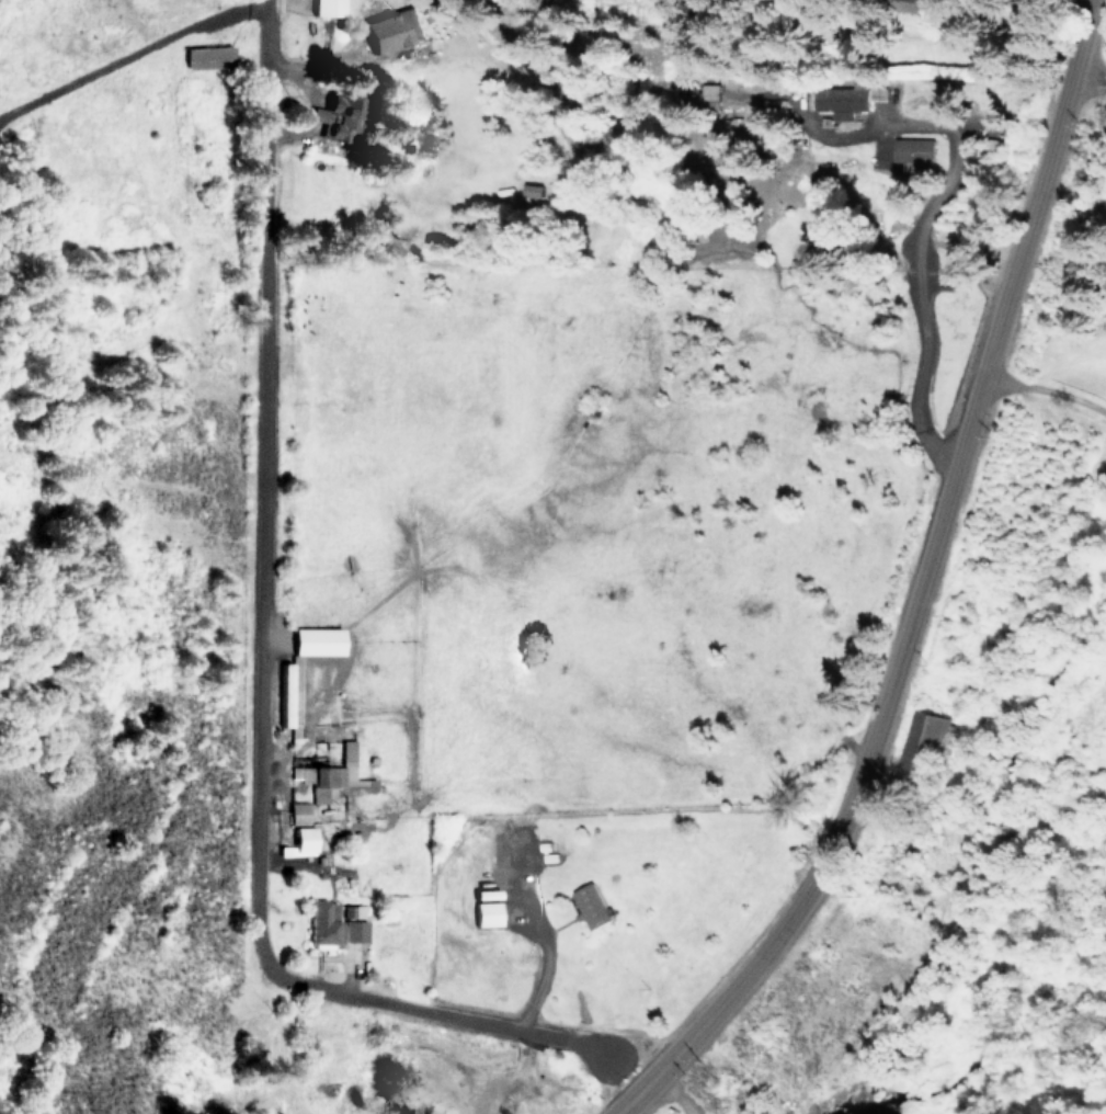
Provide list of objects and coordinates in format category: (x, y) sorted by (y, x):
building: (330, 8)
building: (395, 31)
road: (1087, 93)
building: (840, 101)
building: (349, 118)
building: (915, 152)
road: (169, 221)
road: (911, 259)
road: (1048, 393)
road: (925, 591)
building: (319, 640)
road: (267, 663)
building: (286, 694)
building: (917, 740)
building: (329, 773)
building: (300, 812)
crop: (445, 829)
building: (305, 840)
building: (592, 906)
building: (489, 913)
building: (339, 923)

